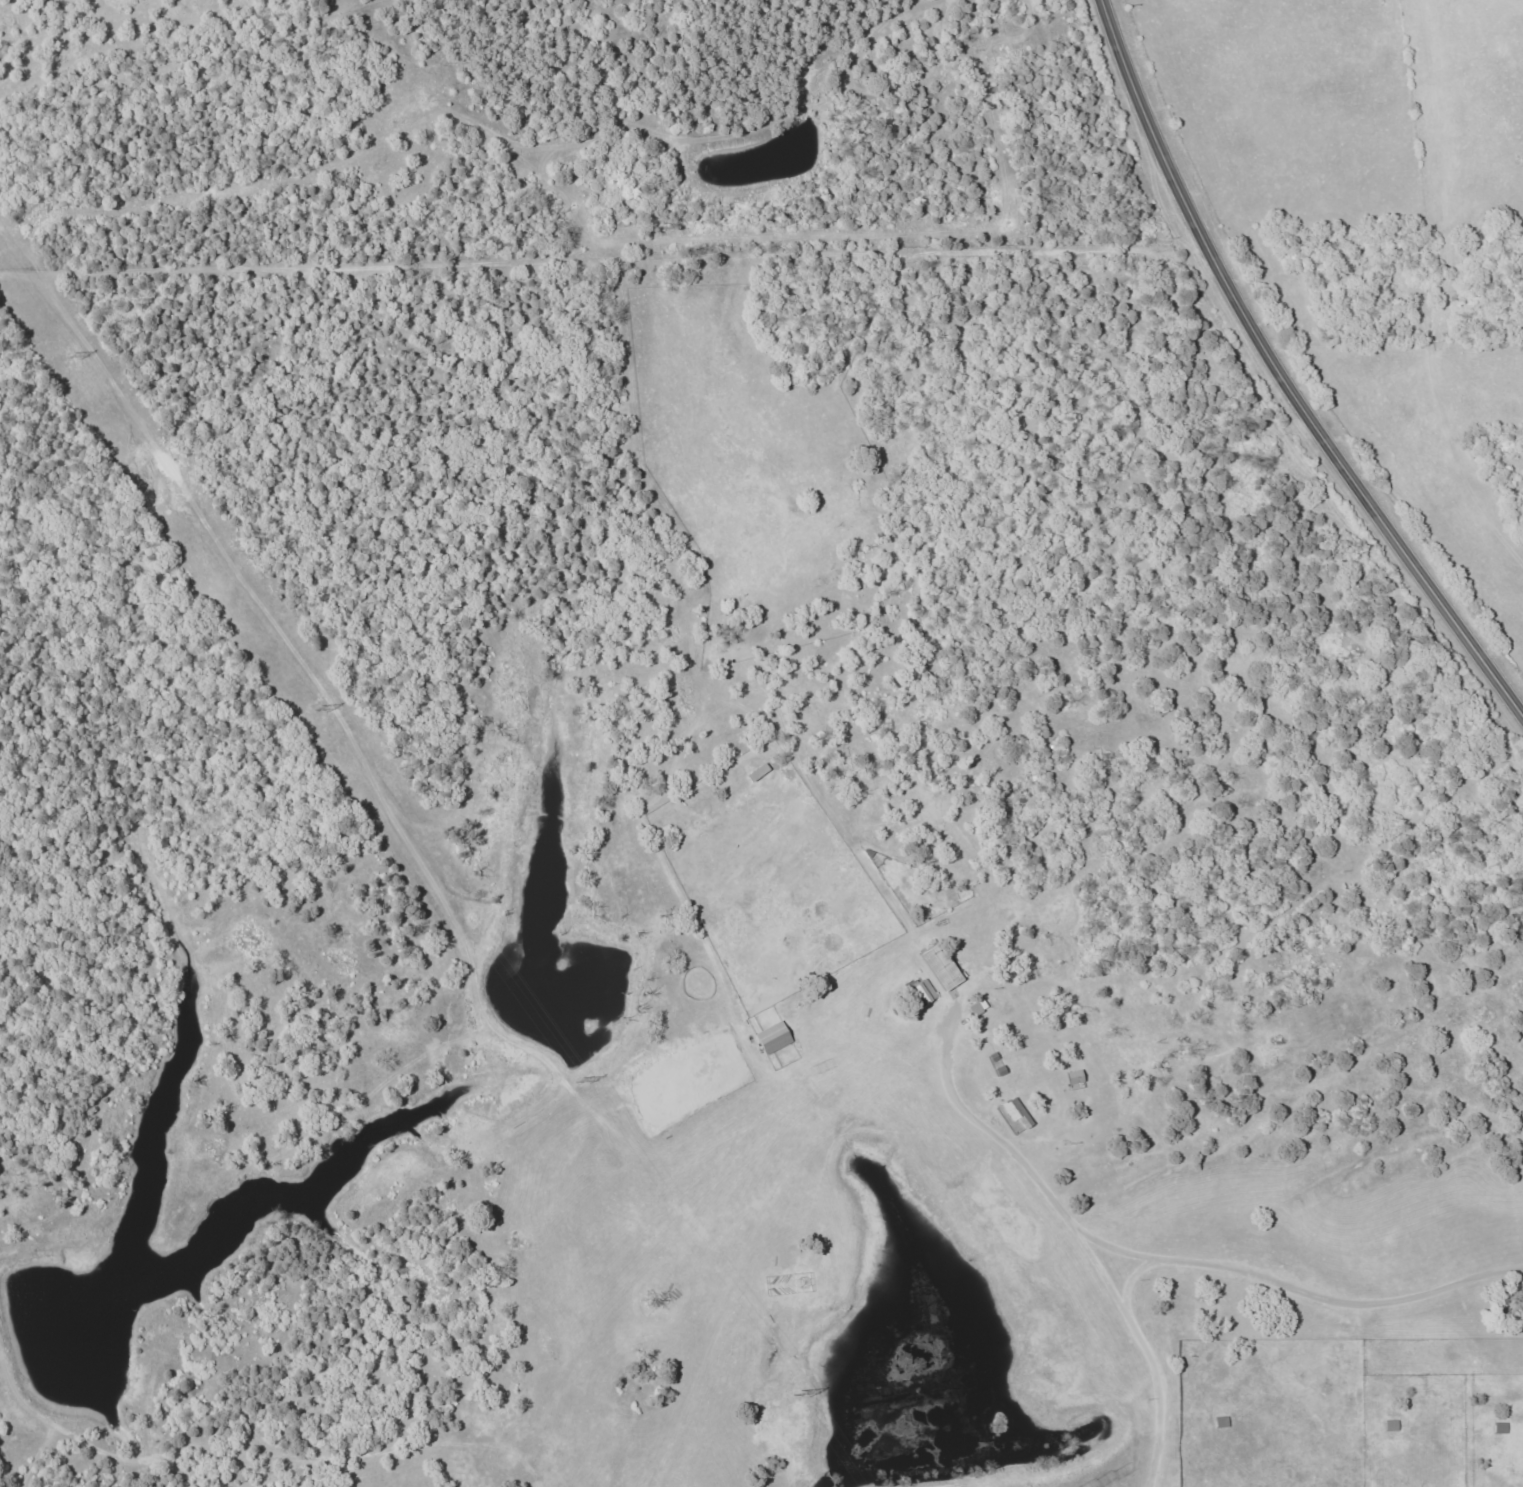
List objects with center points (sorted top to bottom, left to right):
power tower: (71, 356)
road: (1282, 375)
power tower: (317, 705)
building: (940, 967)
building: (922, 993)
power tower: (578, 1079)
building: (1015, 1111)
road: (1013, 1159)
road: (1211, 1272)
power tower: (797, 1391)

